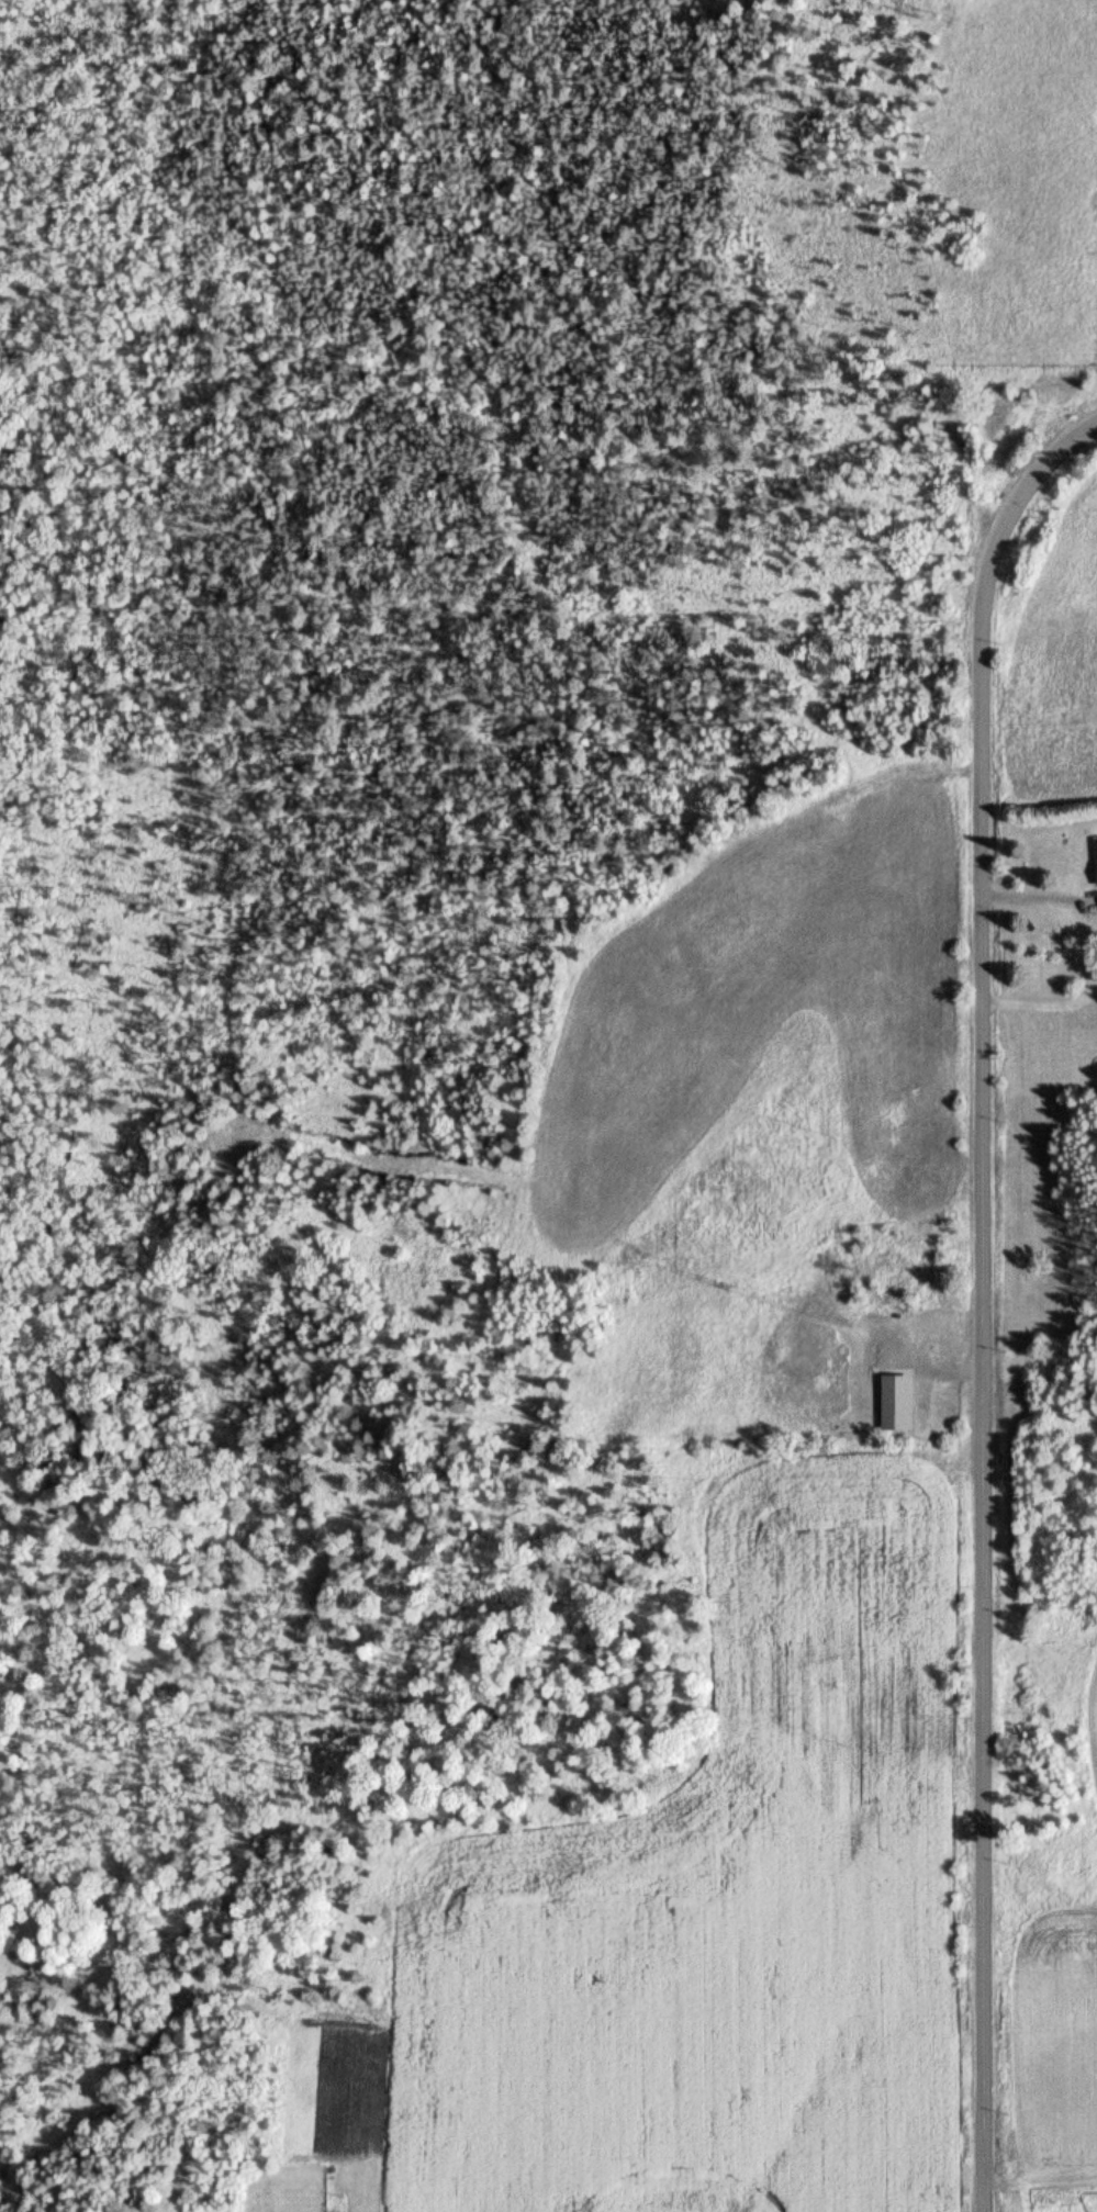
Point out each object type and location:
road: (1049, 896)
road: (990, 1303)
building: (904, 1397)
building: (887, 1405)

